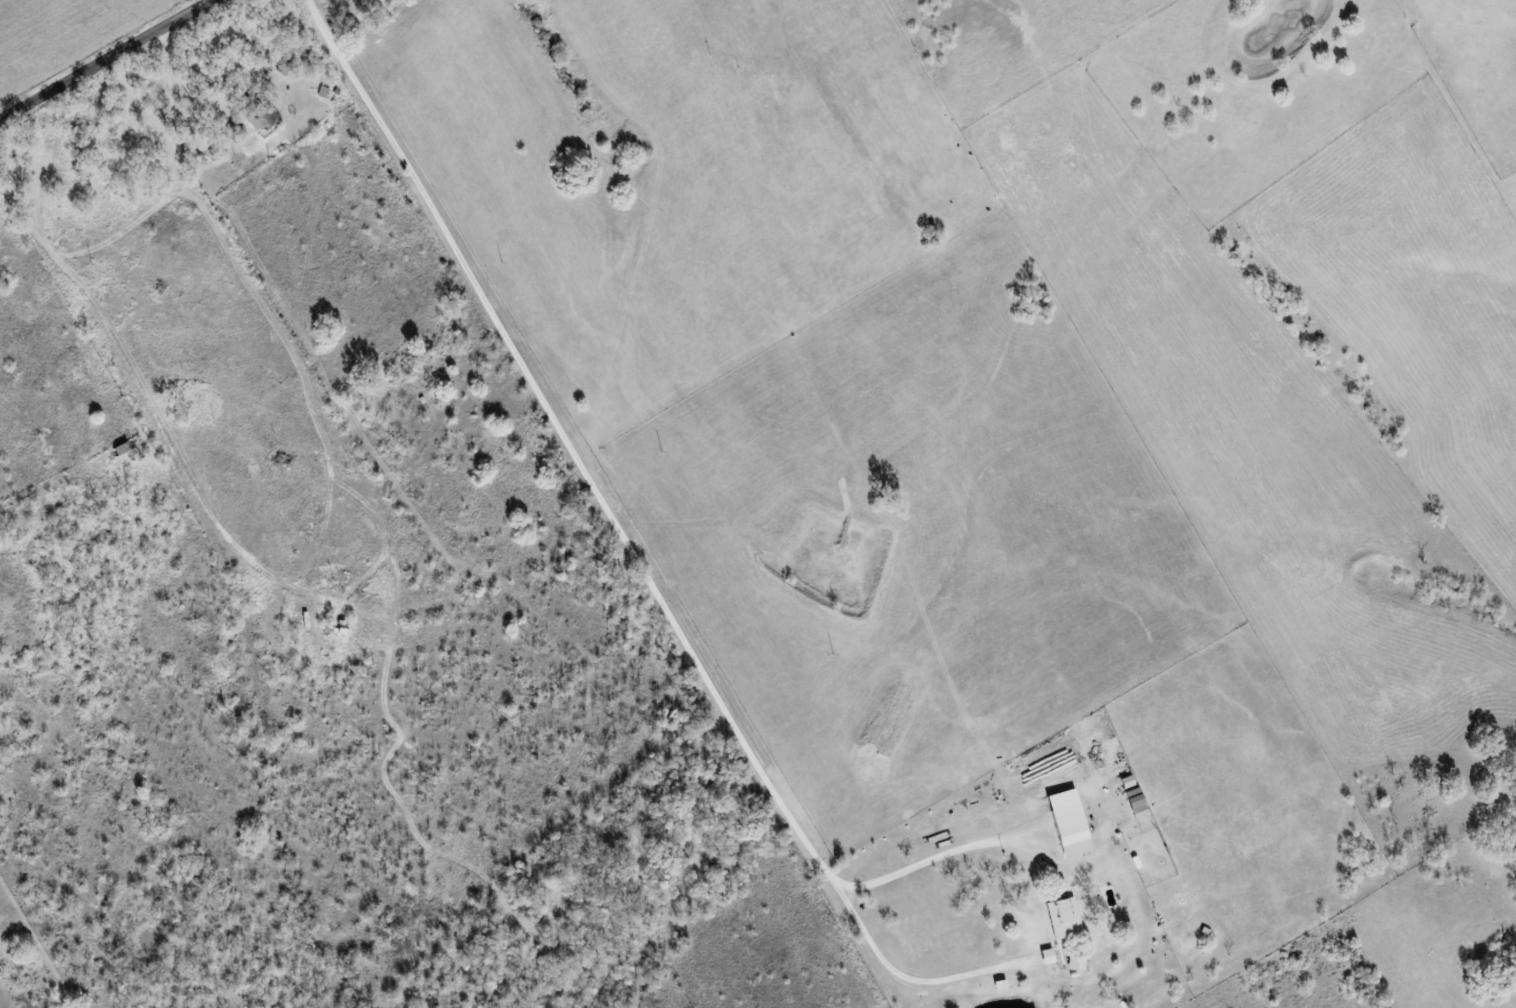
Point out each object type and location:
road: (104, 58)
road: (192, 63)
building: (281, 67)
building: (321, 93)
building: (253, 113)
road: (572, 150)
road: (616, 530)
building: (1135, 803)
building: (1071, 830)
road: (929, 858)
building: (1062, 918)
building: (1075, 963)

